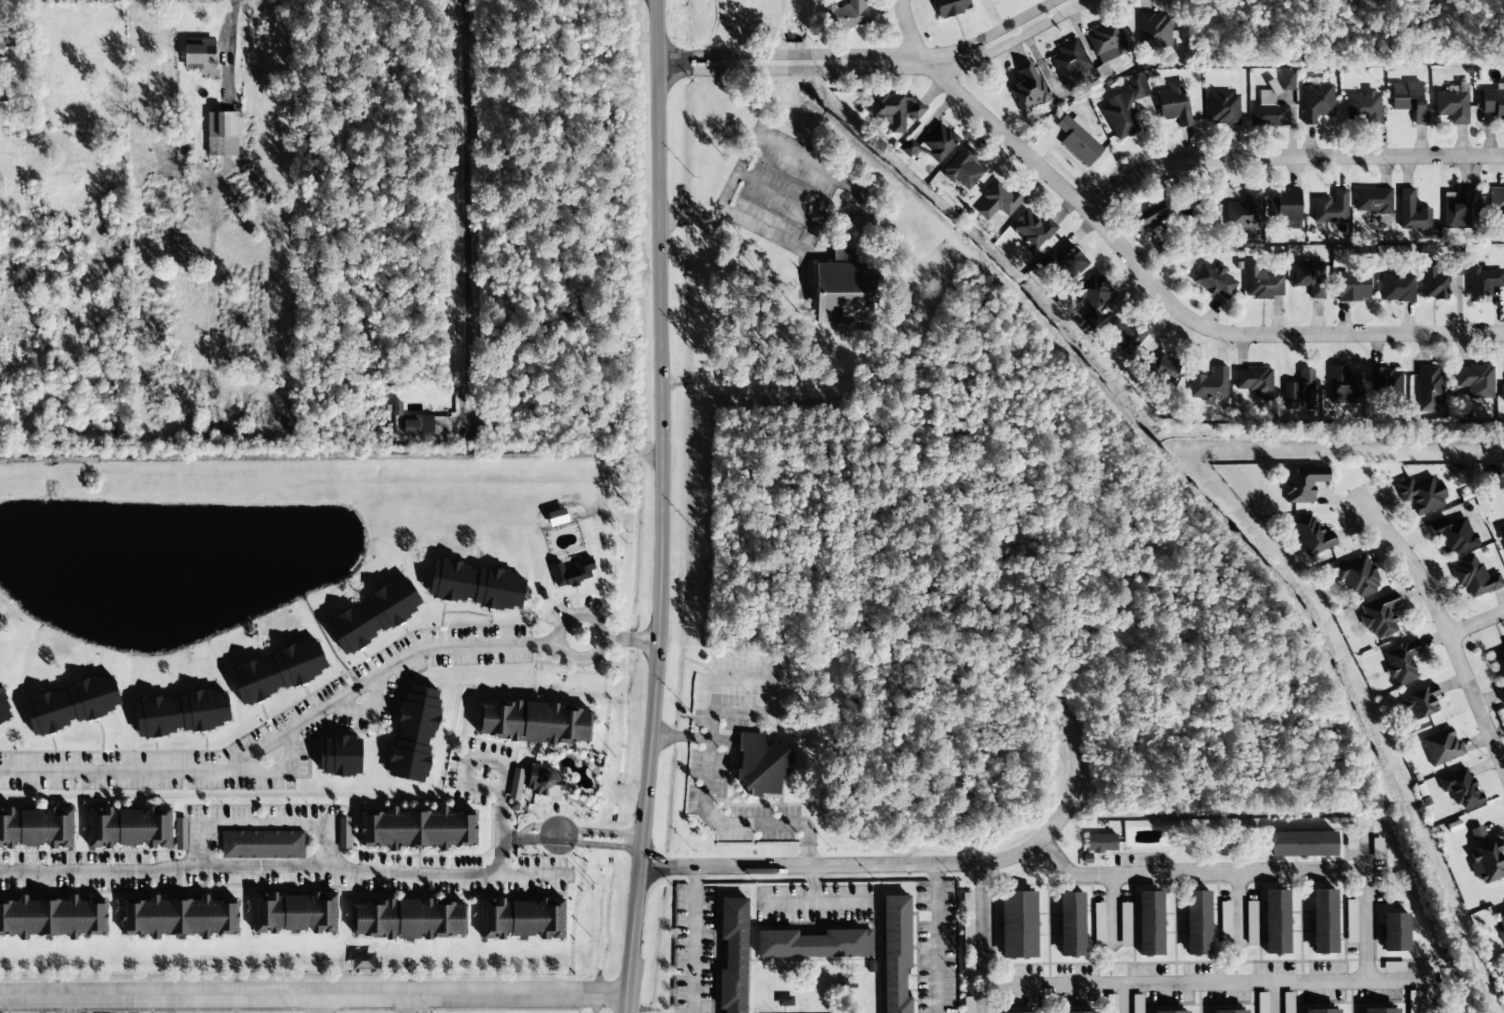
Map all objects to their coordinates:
building: (939, 7)
building: (843, 16)
park: (743, 18)
building: (1153, 30)
building: (1, 39)
building: (1105, 47)
building: (197, 56)
road: (874, 62)
building: (1070, 64)
building: (1286, 82)
building: (1026, 90)
building: (1409, 100)
building: (1171, 101)
building: (1315, 102)
building: (1493, 104)
building: (1451, 106)
building: (1362, 107)
building: (896, 109)
building: (1221, 109)
building: (1120, 110)
building: (1267, 112)
building: (5, 114)
building: (220, 134)
building: (937, 141)
building: (1076, 142)
building: (908, 148)
road: (1287, 158)
building: (962, 168)
building: (997, 201)
building: (1371, 201)
building: (1496, 201)
building: (1284, 205)
building: (1330, 208)
building: (1459, 208)
road: (468, 210)
building: (1243, 211)
building: (1411, 212)
building: (1144, 217)
building: (1029, 231)
building: (1060, 263)
building: (1455, 268)
road: (1147, 276)
building: (1309, 277)
building: (1211, 281)
building: (1432, 282)
building: (1262, 283)
building: (1481, 284)
building: (1351, 287)
building: (1396, 288)
building: (839, 290)
building: (1091, 298)
building: (1124, 335)
building: (1161, 366)
building: (1474, 380)
building: (1253, 382)
building: (1384, 383)
building: (1207, 384)
building: (1342, 386)
building: (1428, 389)
building: (1298, 392)
building: (1501, 392)
building: (396, 408)
building: (423, 426)
building: (1300, 484)
building: (1420, 493)
road: (661, 507)
building: (1310, 534)
building: (1501, 534)
building: (1453, 537)
building: (570, 572)
building: (1356, 576)
building: (1473, 577)
building: (473, 585)
building: (370, 614)
road: (578, 615)
building: (1379, 616)
road: (1475, 623)
road: (1446, 633)
building: (1503, 644)
building: (1401, 661)
building: (274, 671)
building: (1498, 673)
building: (1418, 703)
building: (68, 704)
road: (334, 705)
building: (3, 712)
building: (177, 713)
building: (530, 721)
building: (411, 733)
building: (1440, 747)
building: (335, 755)
building: (757, 767)
building: (541, 781)
building: (515, 785)
building: (1458, 788)
road: (267, 821)
building: (33, 827)
building: (125, 827)
road: (605, 827)
building: (413, 828)
building: (1475, 832)
building: (180, 834)
building: (343, 834)
road: (541, 834)
building: (1099, 843)
building: (260, 844)
road: (601, 844)
building: (1301, 844)
building: (1375, 849)
building: (1485, 862)
road: (925, 863)
road: (267, 866)
road: (1109, 905)
building: (290, 913)
building: (50, 917)
building: (175, 917)
building: (404, 918)
building: (518, 918)
building: (967, 919)
building: (1224, 919)
building: (1349, 919)
building: (1249, 921)
building: (1274, 921)
building: (1321, 921)
building: (1499, 922)
building: (1148, 923)
building: (1195, 923)
building: (1016, 924)
building: (1069, 924)
building: (1124, 924)
building: (1097, 925)
building: (1393, 932)
road: (694, 939)
building: (812, 944)
building: (730, 954)
building: (893, 954)
road: (1333, 986)
road: (1402, 986)
road: (982, 996)
road: (315, 1000)
building: (784, 1001)
building: (1412, 1002)
building: (1136, 1003)
building: (1262, 1003)
building: (1111, 1004)
building: (1287, 1004)
building: (968, 1005)
road: (70, 1006)
road: (319, 1006)
road: (408, 1007)
building: (1378, 1010)
building: (1168, 1011)
building: (1227, 1011)
building: (1319, 1011)
building: (1017, 1012)
building: (1076, 1012)

